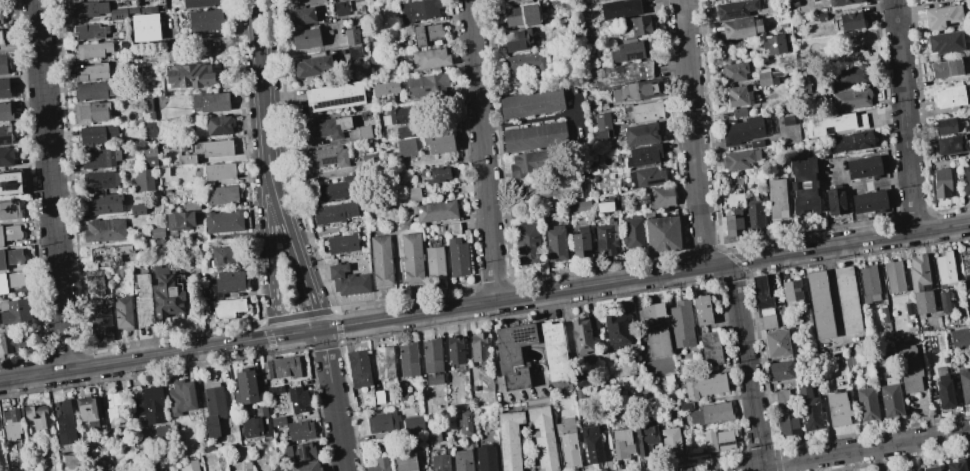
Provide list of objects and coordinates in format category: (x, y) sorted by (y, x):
building: (506, 0)
building: (599, 0)
building: (711, 0)
building: (518, 1)
building: (842, 2)
building: (200, 3)
building: (87, 8)
building: (340, 8)
building: (619, 8)
building: (734, 9)
building: (144, 10)
building: (418, 10)
building: (121, 12)
rooftop solar panel: (732, 14)
building: (301, 15)
building: (521, 15)
building: (819, 16)
building: (943, 17)
building: (205, 19)
building: (0, 20)
building: (850, 20)
building: (632, 26)
rooftop solar panel: (949, 26)
building: (144, 27)
building: (740, 28)
building: (90, 31)
building: (426, 34)
rooftop solar panel: (628, 34)
building: (351, 36)
building: (306, 38)
building: (0, 39)
building: (519, 39)
building: (945, 42)
building: (773, 44)
building: (736, 46)
park: (838, 49)
building: (91, 50)
building: (354, 51)
building: (631, 51)
building: (428, 59)
building: (524, 62)
building: (3, 64)
building: (312, 66)
building: (945, 68)
building: (733, 71)
building: (92, 72)
building: (621, 73)
building: (188, 75)
building: (850, 75)
building: (764, 78)
building: (426, 85)
building: (4, 88)
building: (95, 90)
building: (632, 90)
building: (385, 93)
building: (334, 95)
building: (738, 96)
building: (948, 96)
building: (851, 99)
road: (263, 100)
building: (211, 101)
building: (530, 103)
building: (147, 104)
building: (5, 111)
building: (90, 111)
building: (646, 112)
building: (738, 112)
building: (402, 115)
road: (905, 115)
building: (602, 121)
building: (833, 123)
building: (218, 125)
building: (947, 125)
building: (323, 128)
building: (147, 129)
building: (742, 130)
building: (404, 131)
building: (364, 132)
building: (96, 134)
building: (599, 134)
building: (641, 134)
building: (5, 135)
building: (534, 136)
rooftop solar panel: (4, 139)
building: (851, 141)
building: (439, 142)
building: (756, 143)
building: (950, 145)
building: (406, 147)
building: (206, 150)
road: (482, 150)
building: (149, 155)
building: (643, 155)
building: (6, 156)
building: (98, 157)
building: (325, 157)
building: (368, 157)
building: (739, 159)
rooftop solar panel: (327, 161)
building: (529, 163)
building: (862, 167)
building: (218, 171)
building: (438, 174)
building: (646, 177)
building: (100, 179)
building: (965, 179)
building: (142, 180)
rooftop solar panel: (654, 182)
building: (941, 182)
building: (10, 183)
building: (803, 184)
road: (872, 184)
road: (52, 185)
rooftop solar panel: (13, 187)
rooftop solar panel: (96, 188)
building: (339, 189)
building: (552, 192)
building: (414, 194)
building: (222, 195)
building: (661, 197)
building: (776, 198)
building: (834, 200)
building: (868, 201)
building: (102, 203)
building: (579, 206)
building: (605, 206)
building: (9, 208)
building: (137, 209)
building: (433, 210)
building: (333, 213)
building: (754, 216)
building: (179, 220)
building: (223, 221)
building: (733, 223)
building: (403, 224)
building: (452, 226)
building: (104, 230)
building: (156, 232)
building: (632, 232)
building: (9, 233)
building: (661, 233)
building: (606, 237)
building: (580, 242)
road: (701, 242)
building: (342, 243)
building: (526, 243)
building: (555, 243)
building: (108, 253)
building: (226, 255)
building: (10, 257)
building: (457, 257)
building: (411, 260)
road: (298, 261)
building: (381, 262)
building: (434, 262)
road: (270, 265)
building: (965, 267)
building: (944, 268)
road: (676, 270)
building: (121, 272)
building: (893, 276)
building: (10, 280)
building: (93, 280)
building: (347, 280)
building: (229, 281)
building: (867, 282)
building: (919, 283)
building: (761, 292)
building: (791, 292)
building: (166, 293)
building: (846, 299)
building: (142, 300)
building: (943, 302)
building: (819, 304)
building: (227, 307)
building: (908, 308)
road: (334, 309)
building: (701, 309)
building: (650, 310)
building: (15, 312)
building: (122, 312)
road: (317, 312)
building: (883, 314)
road: (293, 317)
road: (300, 317)
road: (271, 320)
road: (320, 321)
building: (768, 321)
building: (100, 324)
building: (681, 324)
road: (337, 325)
building: (615, 328)
road: (321, 329)
road: (303, 332)
road: (323, 335)
building: (580, 335)
rooftop solar panel: (521, 336)
building: (958, 338)
building: (658, 341)
road: (339, 342)
building: (775, 343)
road: (322, 345)
building: (478, 346)
building: (9, 348)
road: (306, 348)
building: (710, 348)
building: (455, 350)
building: (554, 350)
building: (513, 354)
building: (431, 355)
building: (407, 359)
road: (130, 360)
building: (384, 362)
building: (285, 366)
building: (359, 368)
building: (266, 369)
building: (909, 369)
building: (781, 370)
building: (433, 378)
building: (704, 385)
building: (964, 385)
building: (245, 387)
building: (275, 390)
building: (944, 392)
building: (401, 394)
building: (781, 396)
building: (181, 397)
building: (378, 397)
building: (890, 397)
building: (297, 399)
road: (334, 403)
building: (866, 403)
building: (149, 405)
building: (114, 407)
building: (809, 407)
building: (213, 408)
building: (88, 409)
building: (837, 409)
building: (711, 413)
building: (36, 417)
building: (277, 421)
building: (382, 421)
building: (64, 422)
building: (412, 422)
building: (429, 422)
building: (464, 422)
building: (11, 423)
building: (787, 424)
building: (265, 426)
building: (250, 427)
building: (300, 430)
building: (161, 431)
building: (432, 434)
building: (542, 437)
building: (645, 437)
building: (509, 439)
building: (718, 440)
building: (670, 441)
building: (567, 443)
building: (591, 443)
building: (621, 443)
rooftop solar panel: (726, 445)
building: (299, 452)
road: (848, 452)
rooftop solar panel: (307, 453)
rooftop solar panel: (300, 454)
building: (485, 457)
building: (463, 460)
building: (404, 462)
building: (439, 462)
building: (379, 464)
building: (193, 465)
building: (956, 465)
building: (247, 466)
building: (302, 466)
building: (273, 467)
building: (930, 468)
building: (222, 469)
building: (161, 470)
building: (887, 470)
building: (911, 470)

